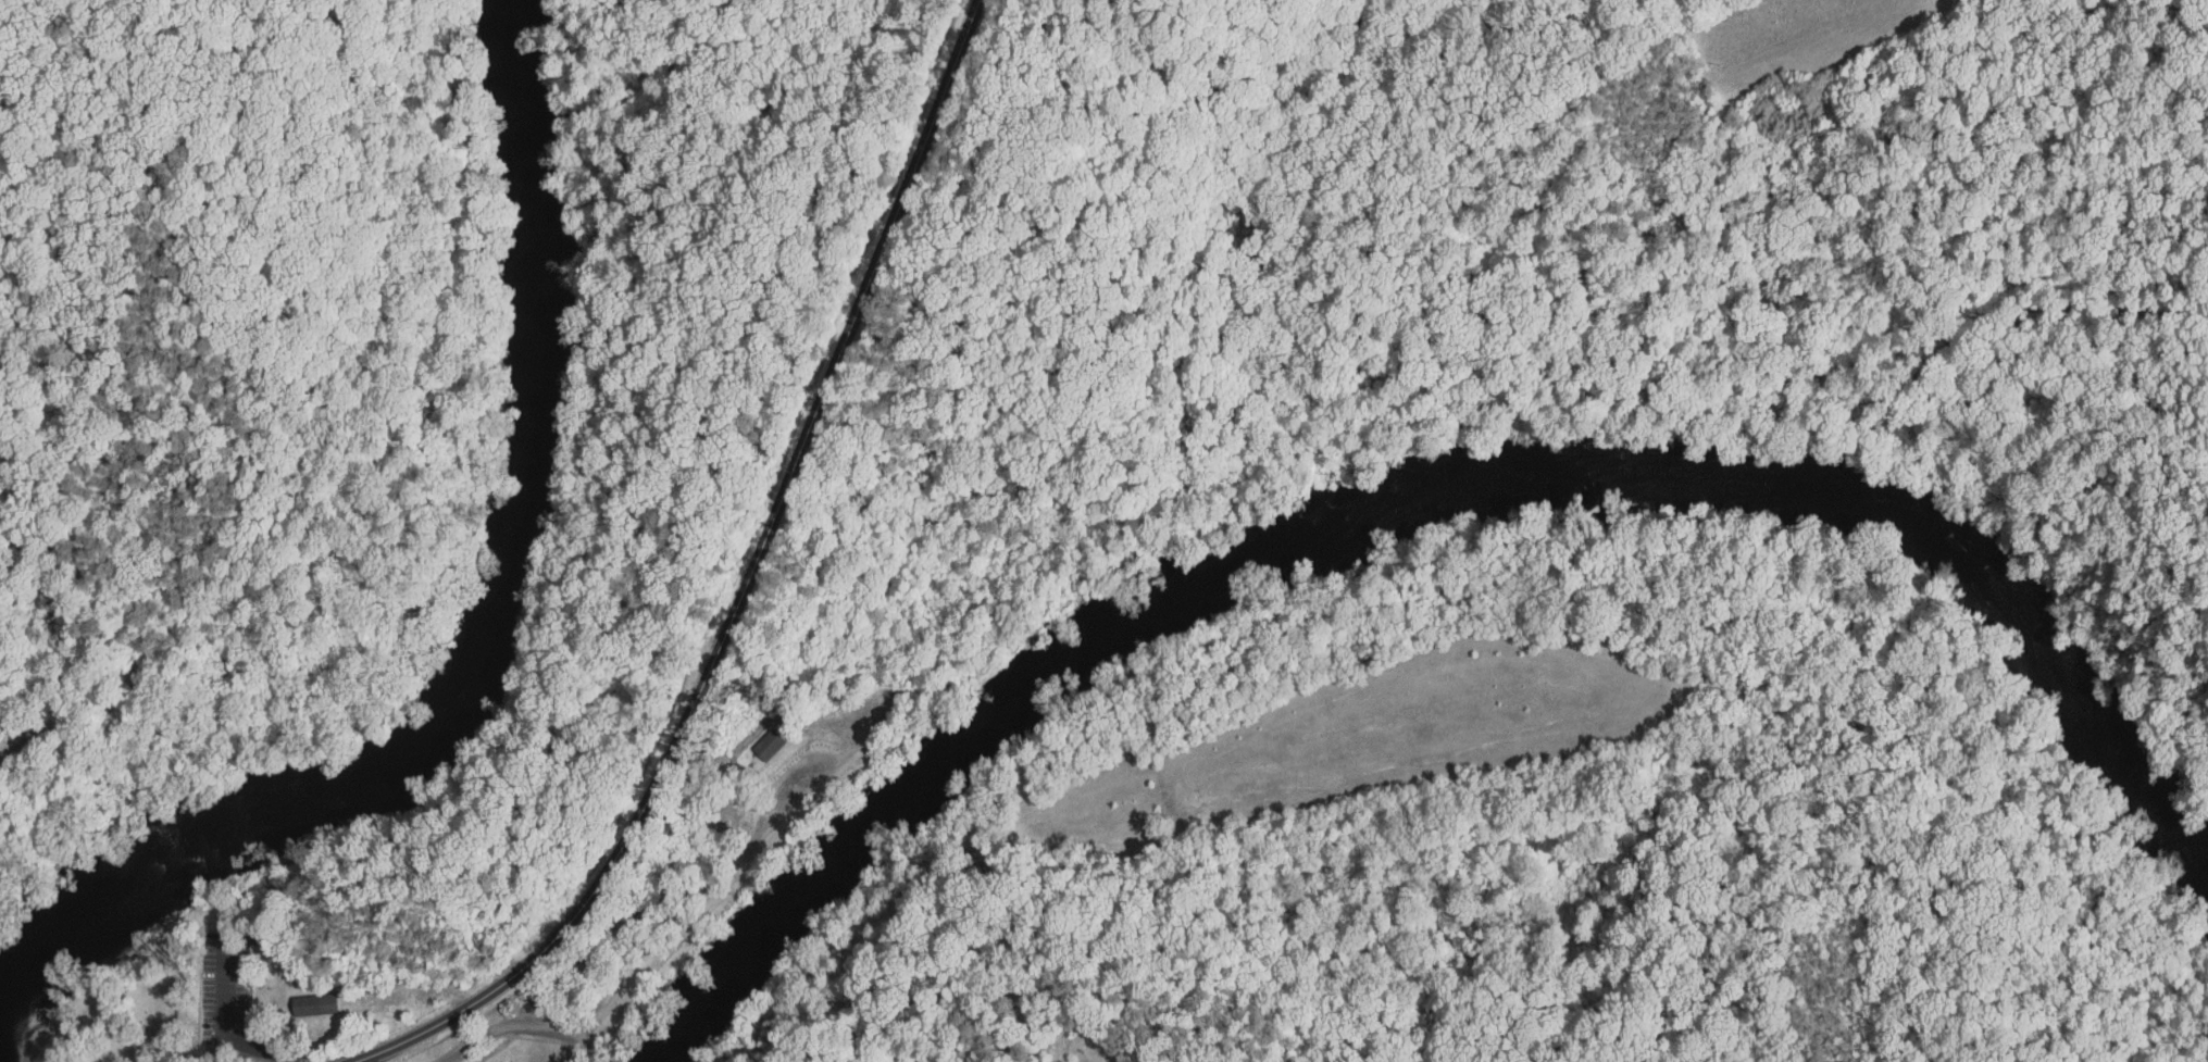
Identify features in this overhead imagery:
road: (1950, 333)
road: (1597, 417)
road: (1746, 418)
road: (1196, 496)
river: (1861, 503)
river: (514, 560)
road: (743, 591)
river: (1034, 683)
building: (753, 737)
road: (15, 744)
parking lot: (754, 837)
road: (738, 871)
road: (674, 885)
river: (50, 925)
road: (682, 927)
river: (716, 984)
parking lot: (225, 991)
building: (298, 996)
building: (334, 1002)
road: (223, 1022)
road: (572, 1044)
road: (302, 1057)

